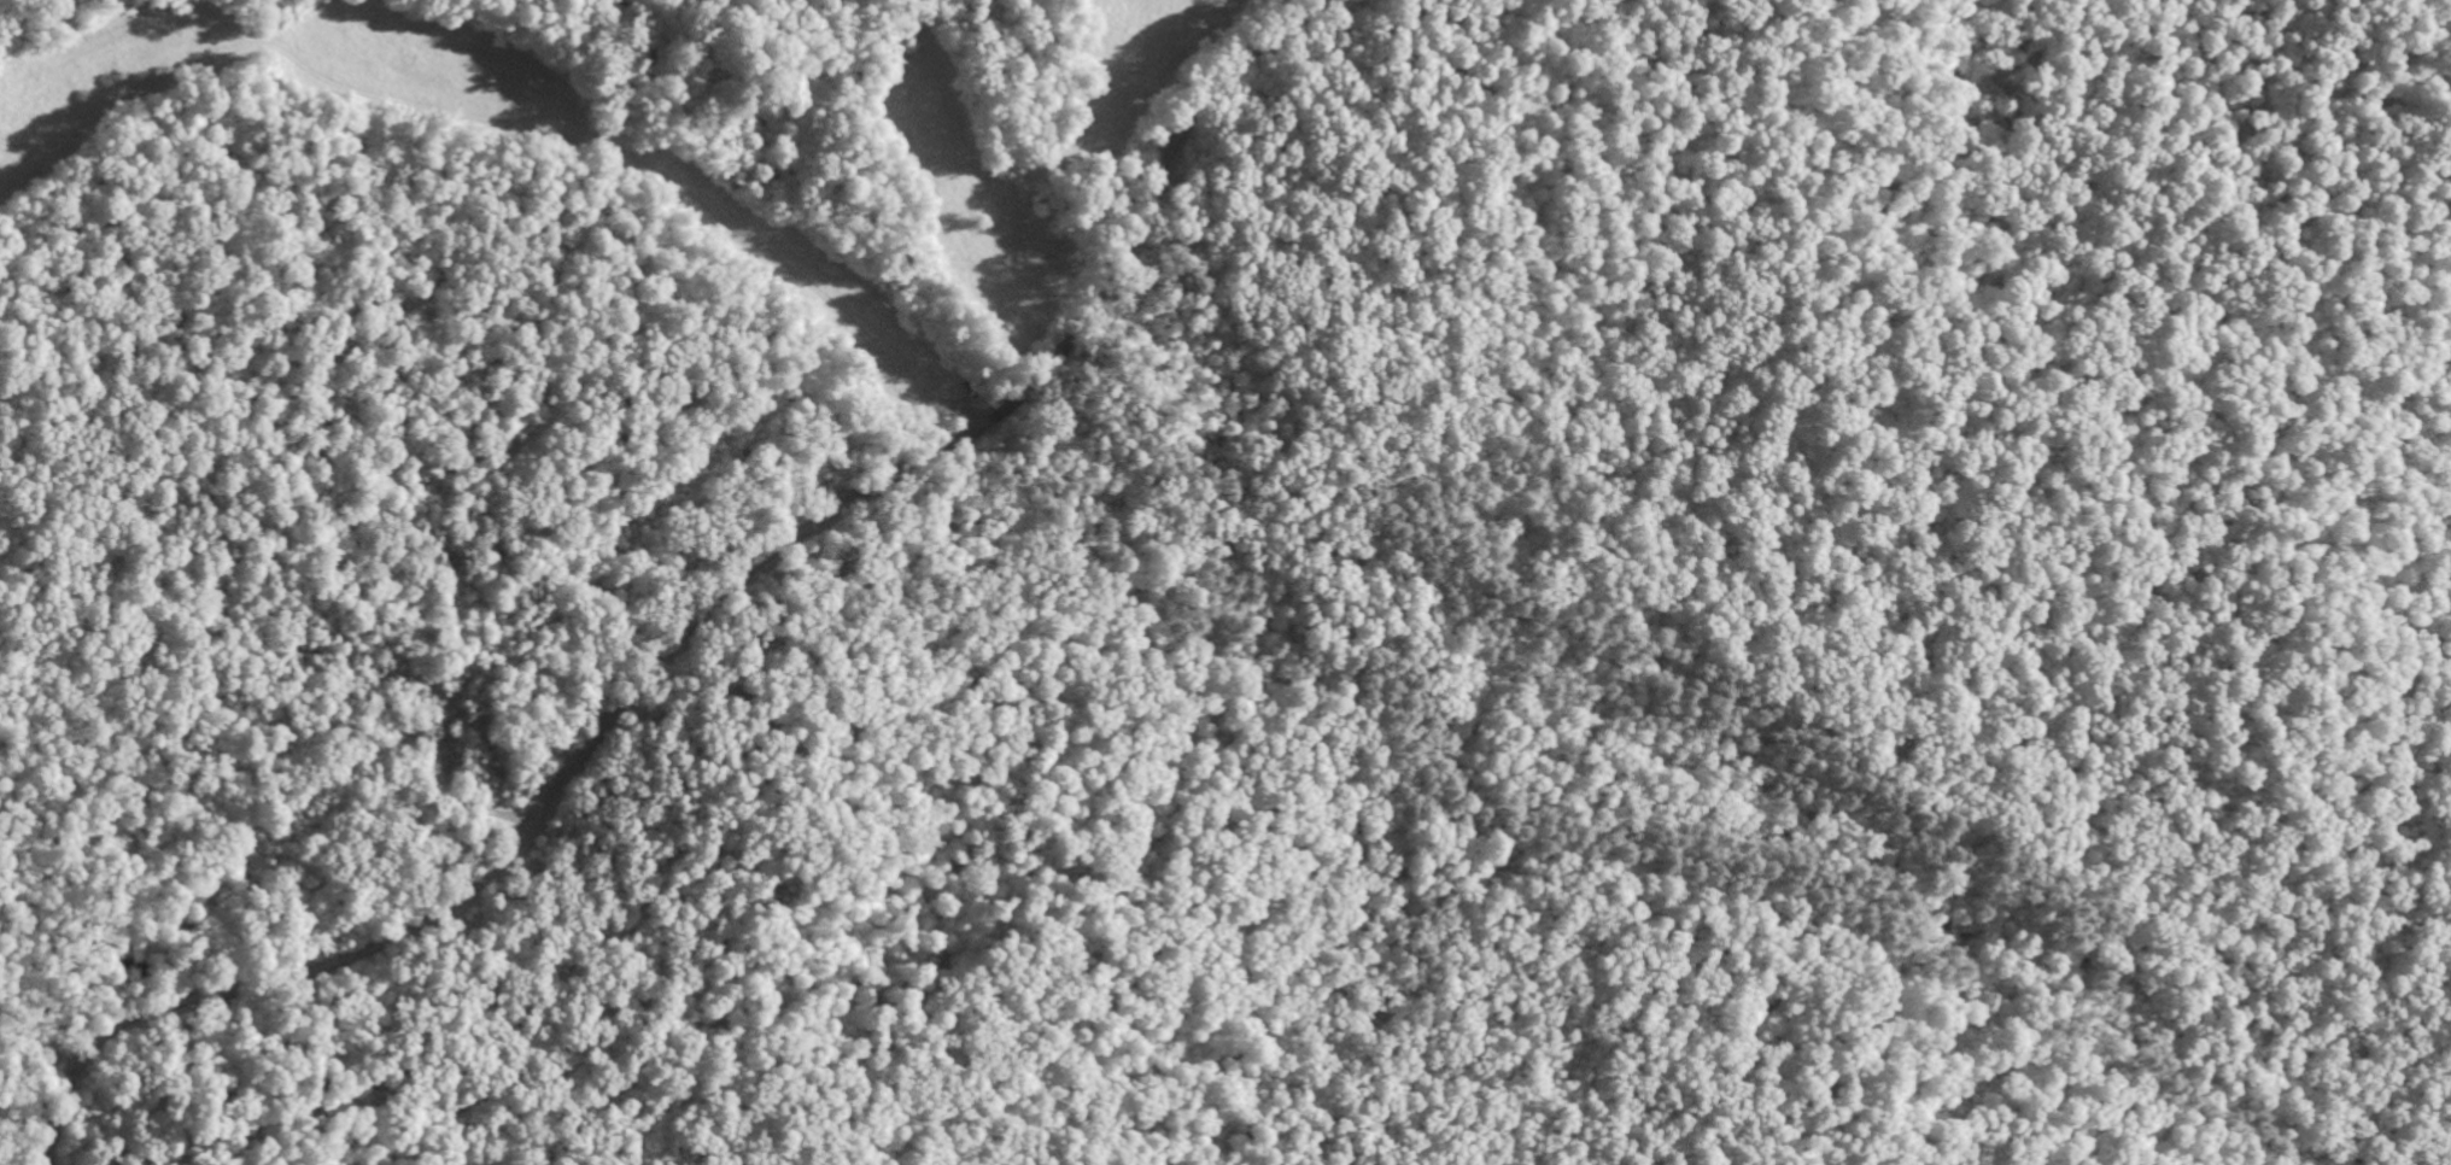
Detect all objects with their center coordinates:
road: (695, 616)

